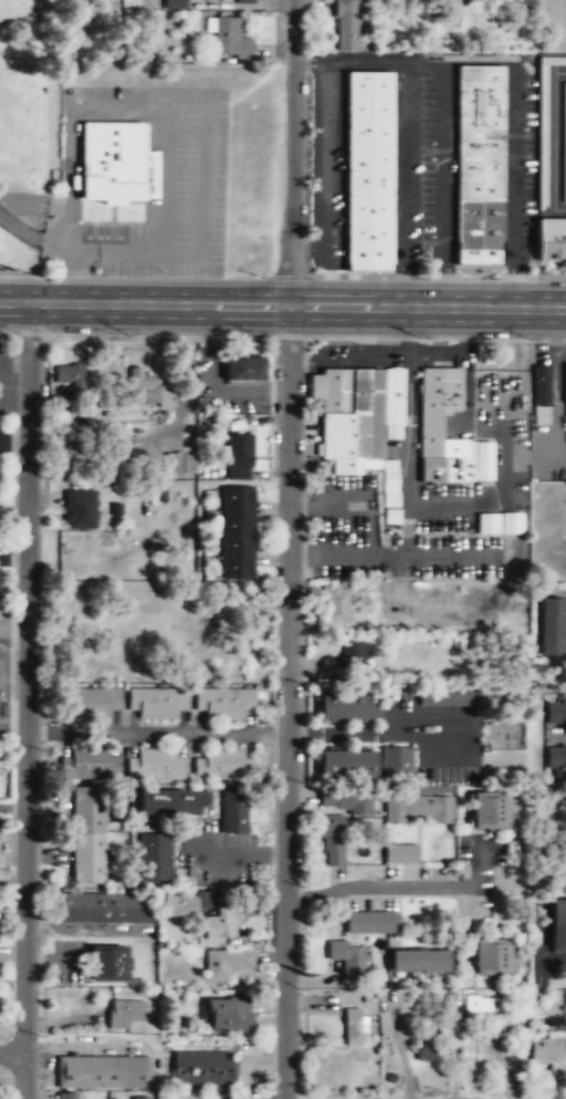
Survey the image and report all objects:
building: (243, 1)
building: (175, 4)
building: (344, 24)
building: (229, 38)
building: (560, 60)
road: (307, 61)
road: (361, 61)
road: (422, 61)
road: (480, 61)
road: (553, 141)
building: (564, 141)
road: (290, 153)
road: (205, 154)
road: (323, 154)
road: (515, 159)
road: (443, 160)
road: (400, 162)
building: (114, 163)
park: (132, 163)
building: (479, 163)
road: (66, 165)
parking lot: (423, 165)
parking lot: (520, 167)
building: (368, 169)
parking lot: (327, 170)
parking lot: (174, 193)
road: (29, 234)
building: (551, 239)
road: (305, 247)
road: (515, 283)
road: (442, 284)
road: (400, 286)
road: (144, 304)
road: (427, 308)
street lamp: (530, 339)
building: (244, 370)
building: (71, 376)
building: (148, 393)
building: (541, 395)
building: (356, 414)
building: (430, 425)
building: (126, 455)
building: (240, 457)
building: (178, 464)
building: (82, 510)
building: (497, 523)
building: (237, 533)
building: (334, 605)
building: (553, 628)
building: (353, 654)
building: (450, 697)
road: (27, 699)
building: (224, 702)
building: (94, 703)
building: (157, 703)
road: (287, 703)
building: (348, 706)
building: (556, 707)
road: (157, 732)
road: (377, 734)
building: (556, 763)
building: (397, 764)
building: (88, 765)
building: (347, 765)
building: (157, 766)
building: (222, 766)
building: (345, 801)
building: (172, 803)
building: (418, 810)
building: (490, 812)
building: (234, 813)
building: (88, 836)
building: (332, 841)
building: (155, 856)
building: (401, 856)
road: (377, 884)
building: (179, 908)
building: (105, 909)
building: (370, 922)
building: (220, 924)
building: (558, 926)
building: (347, 955)
building: (492, 958)
building: (419, 962)
building: (111, 964)
building: (226, 964)
building: (482, 1010)
building: (125, 1014)
building: (229, 1015)
building: (354, 1028)
building: (546, 1047)
building: (424, 1048)
road: (13, 1051)
building: (201, 1069)
building: (103, 1074)
building: (70, 1097)
building: (141, 1097)
building: (233, 1098)

